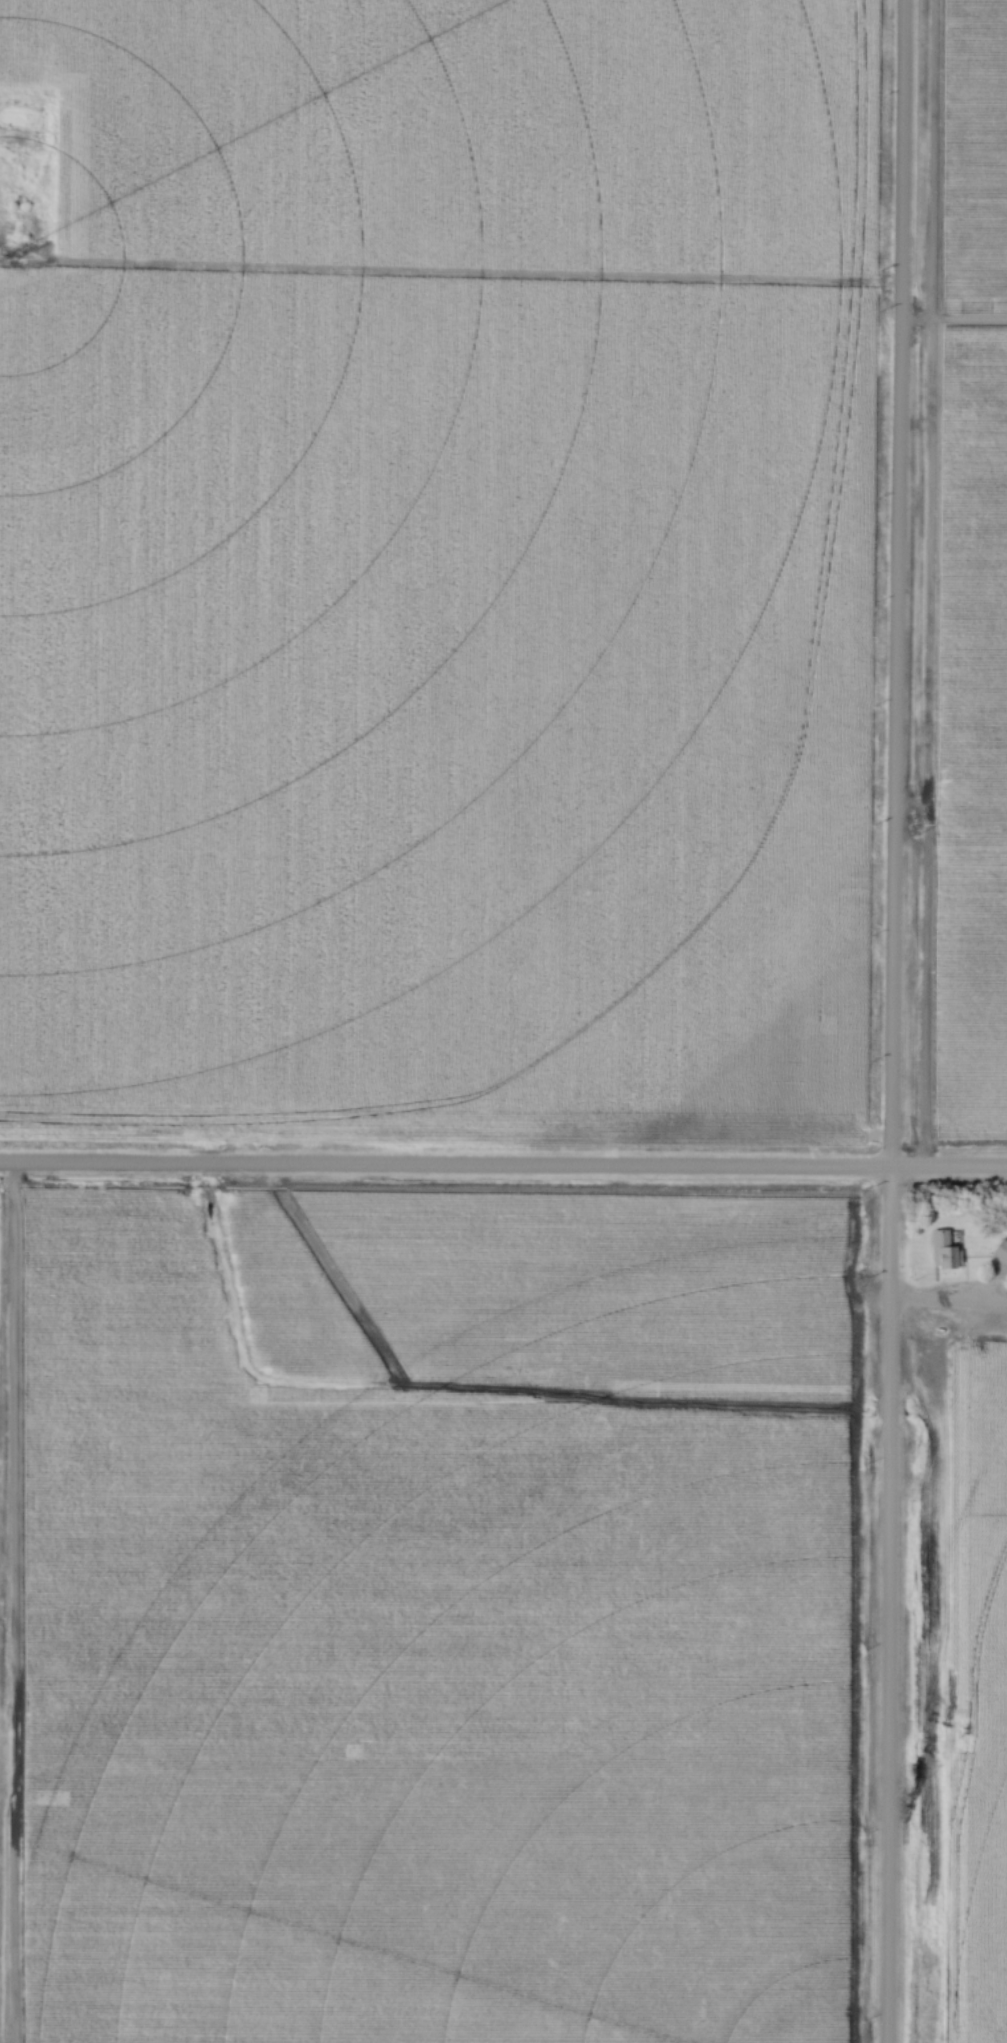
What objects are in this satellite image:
road: (894, 1021)
road: (503, 1169)
building: (946, 1252)
building: (1001, 1253)
road: (951, 1301)

